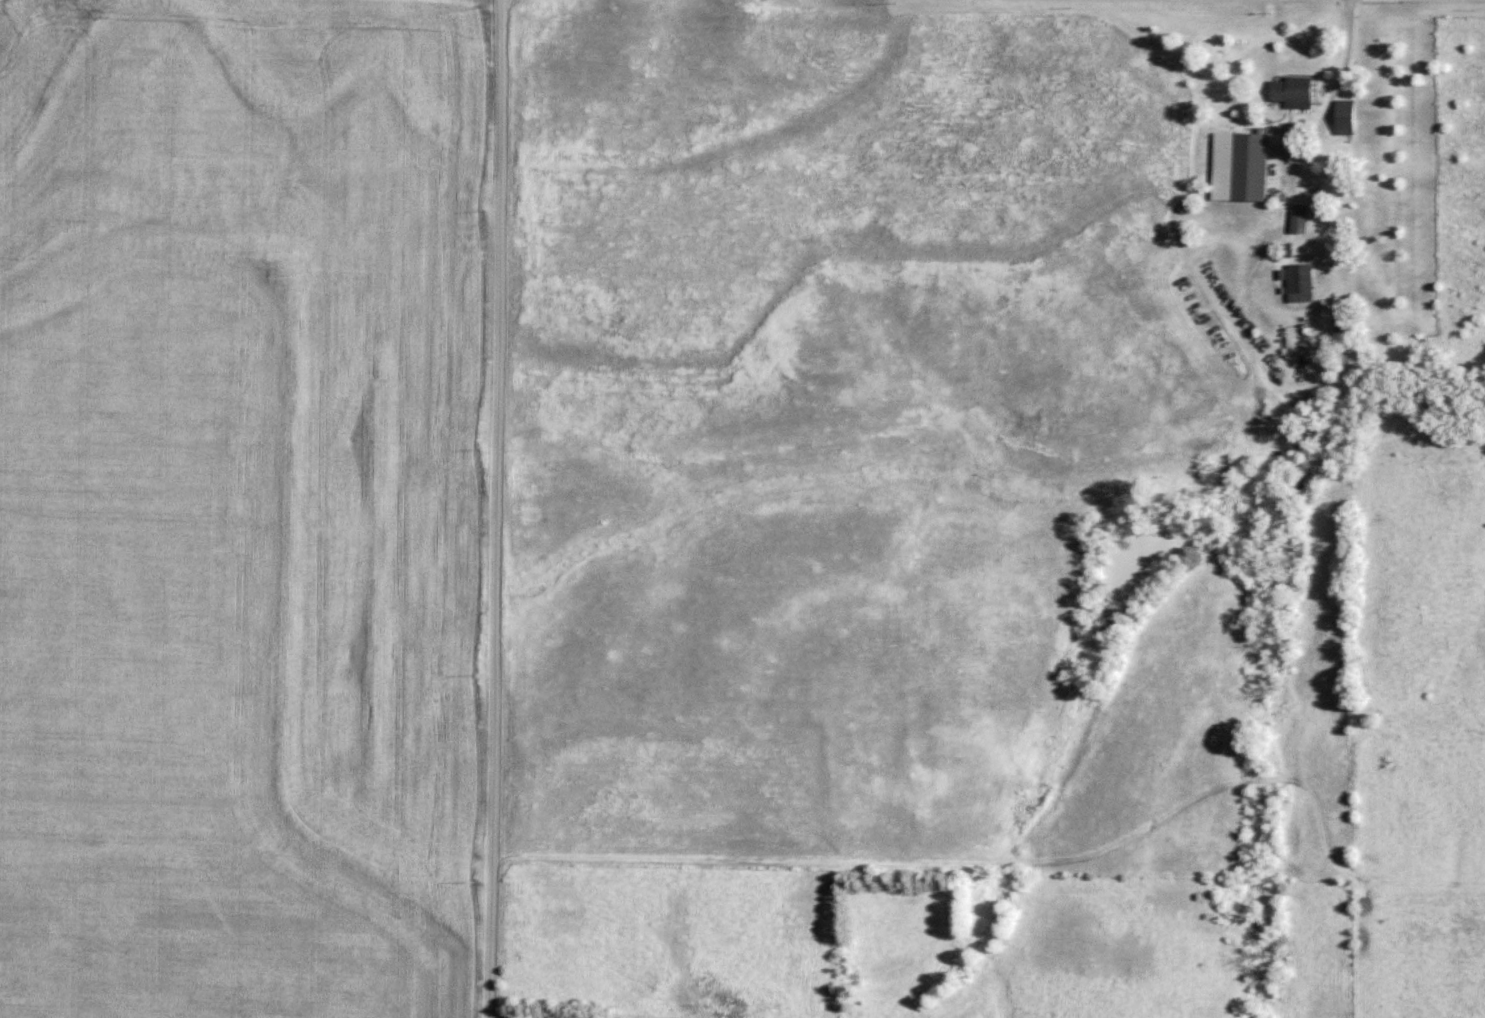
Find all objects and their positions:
building: (1249, 166)
road: (496, 509)

